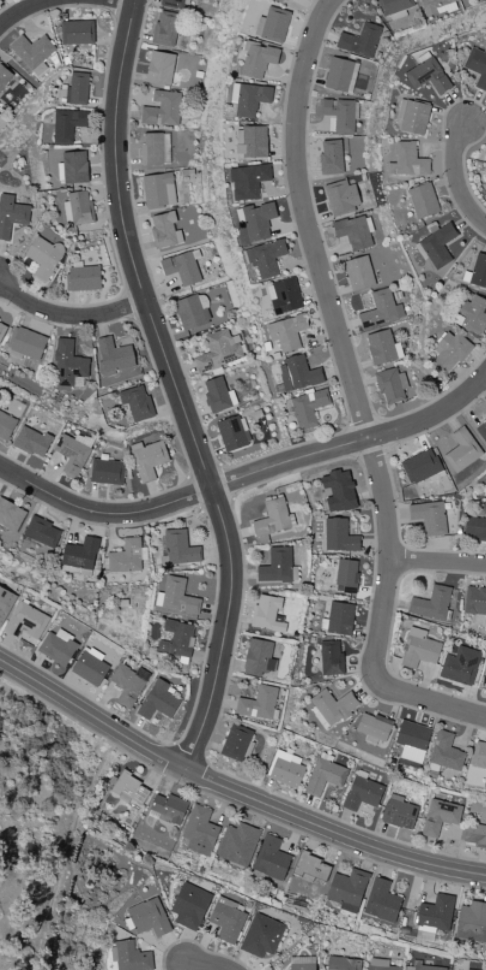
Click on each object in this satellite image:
road: (118, 1)
building: (173, 4)
building: (436, 6)
road: (36, 7)
building: (394, 7)
building: (273, 25)
building: (165, 29)
building: (77, 32)
building: (361, 40)
building: (32, 54)
building: (257, 58)
building: (477, 66)
building: (160, 68)
building: (339, 74)
building: (428, 74)
building: (4, 76)
building: (249, 98)
building: (162, 109)
building: (340, 114)
building: (413, 116)
building: (67, 125)
building: (251, 141)
building: (155, 148)
building: (331, 157)
building: (408, 160)
building: (73, 167)
road: (456, 176)
building: (248, 181)
building: (158, 190)
building: (342, 197)
building: (423, 200)
building: (78, 208)
building: (11, 215)
building: (257, 220)
building: (165, 230)
building: (354, 232)
building: (438, 245)
building: (44, 257)
building: (266, 258)
building: (182, 268)
building: (477, 272)
building: (359, 273)
building: (83, 278)
building: (284, 296)
building: (381, 310)
building: (192, 312)
road: (68, 315)
building: (472, 315)
building: (2, 328)
road: (336, 330)
building: (287, 332)
building: (26, 344)
building: (382, 347)
building: (451, 350)
building: (219, 351)
building: (113, 357)
building: (68, 364)
building: (298, 373)
building: (391, 385)
road: (174, 386)
building: (216, 394)
building: (137, 402)
building: (307, 408)
building: (6, 425)
building: (482, 430)
building: (233, 433)
building: (32, 442)
building: (462, 451)
building: (73, 452)
building: (148, 459)
building: (420, 466)
building: (107, 472)
road: (245, 475)
building: (339, 491)
building: (11, 515)
building: (430, 517)
building: (475, 529)
building: (339, 536)
building: (178, 548)
building: (80, 554)
building: (126, 557)
road: (437, 562)
building: (278, 566)
building: (346, 576)
building: (176, 597)
building: (475, 600)
building: (5, 603)
building: (432, 603)
building: (267, 614)
building: (340, 616)
building: (485, 619)
building: (27, 623)
building: (177, 639)
building: (58, 647)
building: (419, 649)
building: (259, 657)
building: (331, 658)
building: (90, 666)
building: (460, 666)
building: (129, 684)
building: (158, 700)
road: (422, 700)
building: (258, 703)
building: (331, 707)
road: (92, 715)
building: (374, 726)
building: (412, 741)
building: (236, 742)
building: (446, 752)
building: (479, 755)
building: (286, 769)
building: (325, 776)
building: (130, 788)
building: (362, 793)
building: (169, 808)
building: (399, 813)
building: (440, 816)
building: (199, 831)
road: (332, 831)
building: (475, 835)
building: (238, 844)
building: (271, 859)
building: (311, 867)
building: (348, 890)
building: (382, 901)
building: (190, 906)
building: (149, 917)
building: (227, 920)
building: (472, 922)
building: (262, 936)
building: (130, 956)
building: (302, 963)
building: (343, 963)
building: (380, 965)
road: (208, 966)
building: (425, 966)

